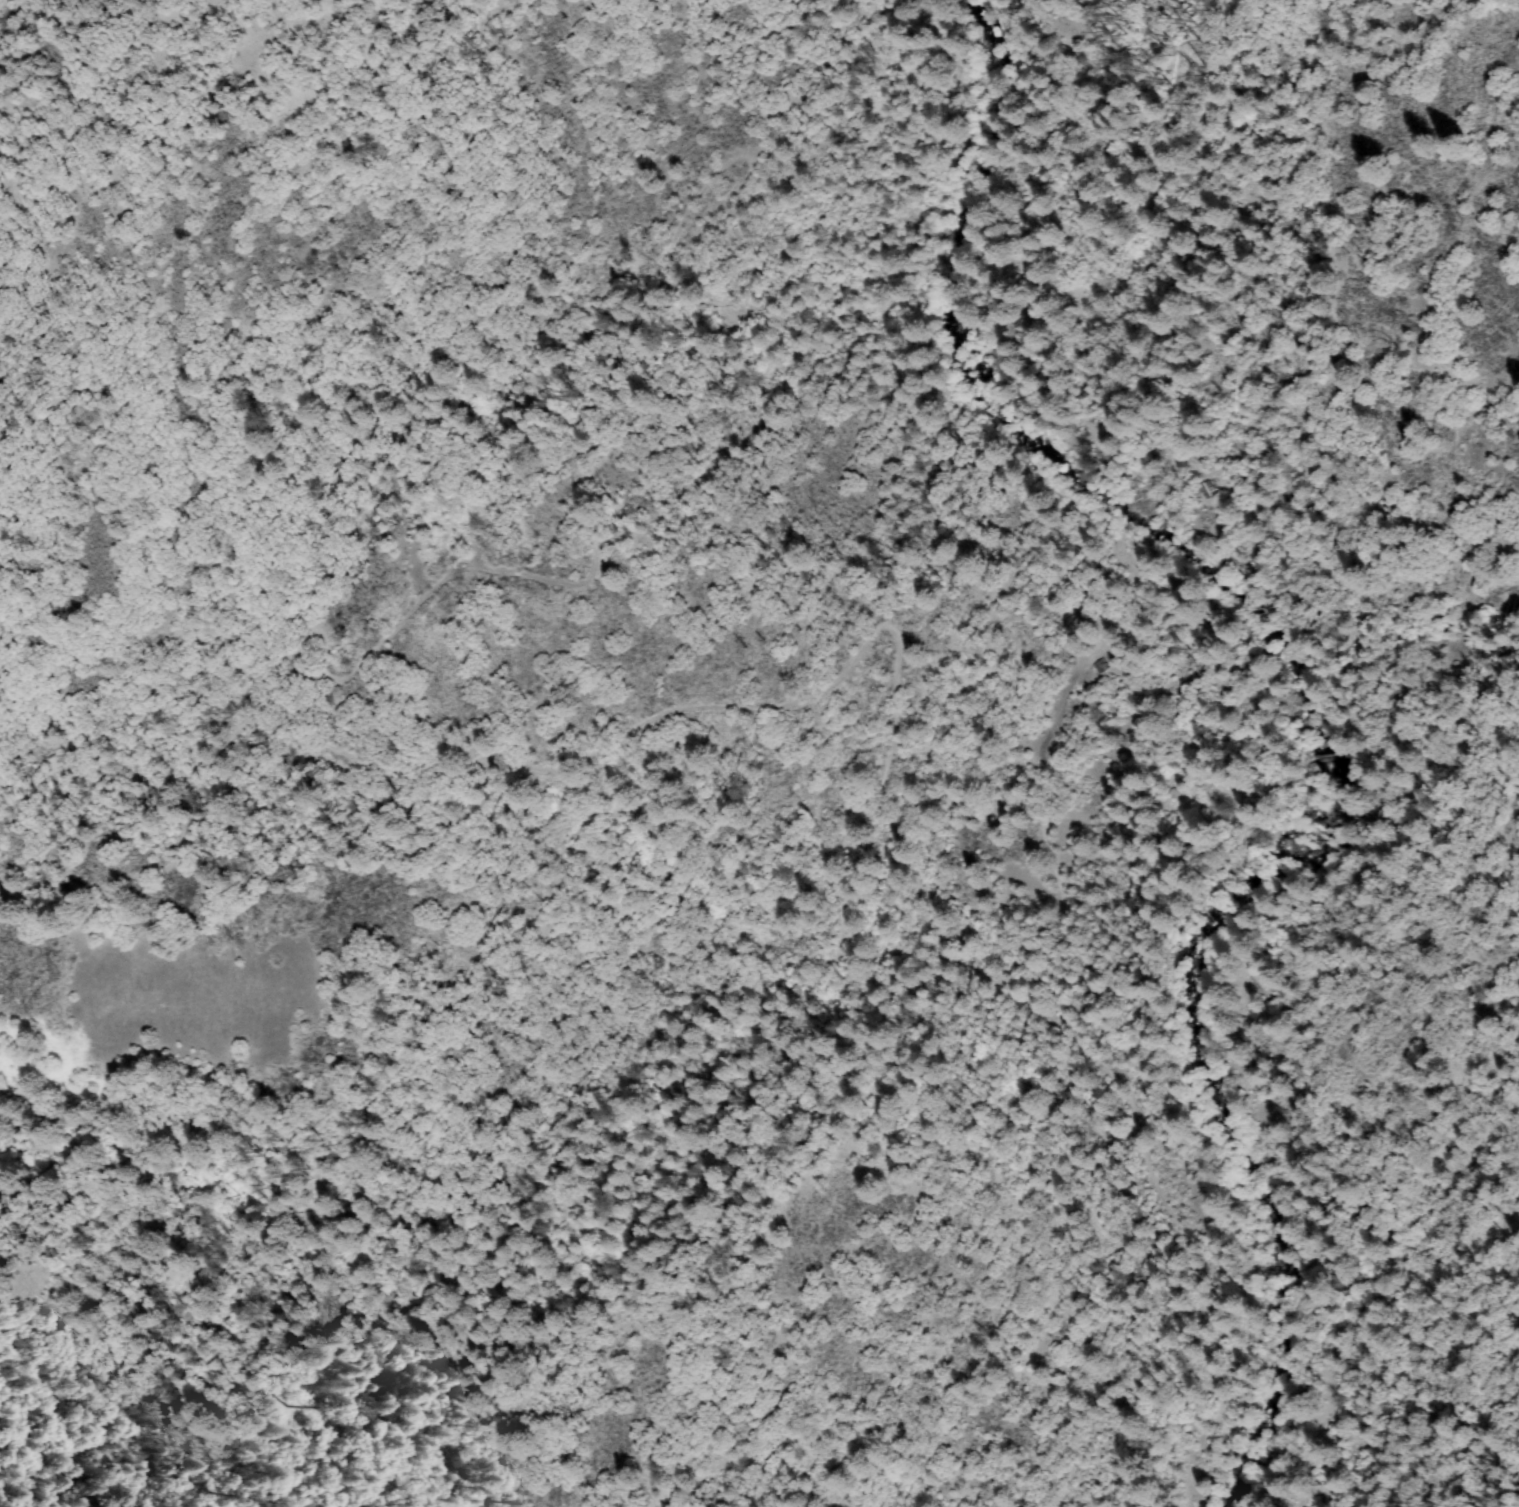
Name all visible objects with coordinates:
road: (293, 656)
building: (1100, 665)
river: (1285, 698)
road: (544, 772)

